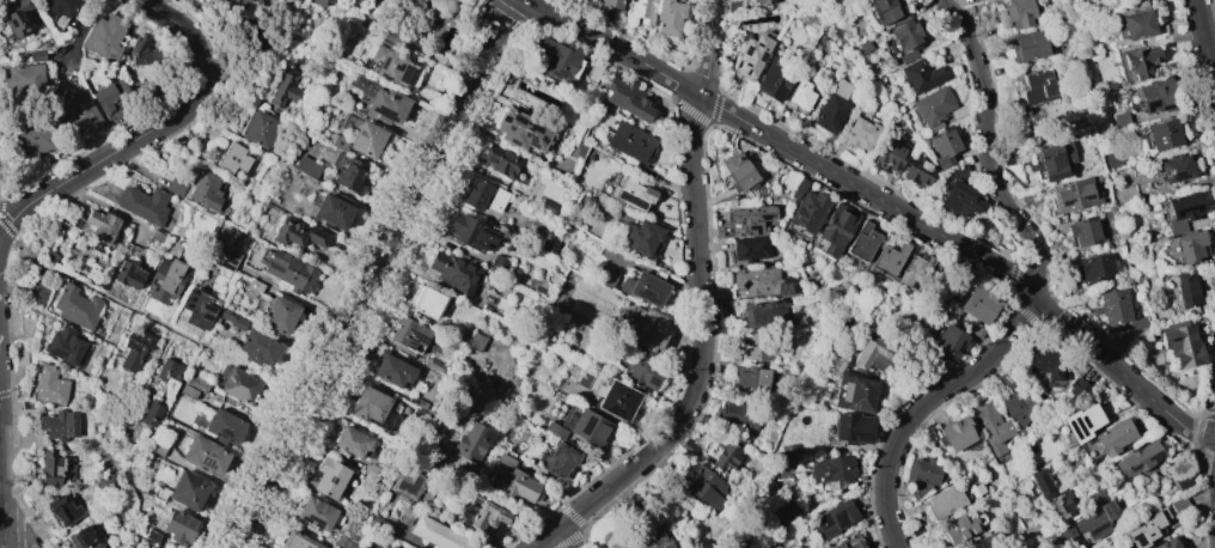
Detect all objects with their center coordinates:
building: (295, 0)
building: (329, 0)
building: (389, 0)
building: (984, 0)
building: (317, 1)
building: (761, 2)
building: (611, 4)
building: (227, 5)
building: (59, 6)
building: (440, 8)
building: (642, 11)
building: (887, 11)
building: (1019, 13)
building: (668, 16)
building: (18, 17)
building: (1137, 24)
road: (85, 31)
building: (104, 36)
building: (903, 36)
road: (1186, 36)
road: (1203, 42)
building: (1028, 45)
building: (865, 47)
rooftop solar panel: (758, 48)
road: (1187, 48)
rooftop solar panel: (745, 51)
building: (144, 53)
building: (35, 55)
building: (751, 56)
building: (908, 56)
rooftop solar panel: (762, 57)
building: (554, 59)
building: (1140, 61)
rooftop solar panel: (385, 63)
rooftop solar panel: (744, 63)
building: (391, 66)
rooftop solar panel: (399, 68)
building: (592, 72)
rooftop solar panel: (747, 73)
building: (920, 75)
rooftop solar panel: (408, 77)
building: (24, 78)
building: (775, 78)
building: (1038, 87)
road: (1214, 87)
building: (283, 89)
building: (1156, 96)
building: (799, 97)
building: (110, 98)
building: (628, 98)
building: (380, 99)
road: (188, 104)
rooftop solar panel: (1149, 104)
road: (1202, 105)
building: (832, 106)
rooftop solar panel: (1167, 106)
building: (933, 108)
road: (1189, 109)
building: (79, 110)
rooftop solar panel: (383, 112)
rooftop solar panel: (519, 118)
rooftop solar panel: (506, 120)
building: (1119, 120)
building: (258, 128)
rooftop solar panel: (512, 128)
rooftop solar panel: (535, 128)
building: (521, 130)
building: (861, 133)
building: (1162, 134)
building: (35, 139)
building: (360, 140)
rooftop solar panel: (542, 140)
rooftop solar panel: (531, 141)
building: (629, 141)
road: (1205, 142)
rooftop solar panel: (514, 144)
road: (782, 144)
building: (942, 147)
road: (985, 147)
building: (576, 150)
building: (889, 156)
building: (232, 158)
building: (500, 160)
building: (1055, 160)
building: (306, 166)
building: (1174, 168)
building: (738, 172)
building: (917, 172)
building: (349, 176)
rooftop solar panel: (1056, 178)
road: (1210, 179)
building: (800, 184)
building: (176, 185)
rooftop solar panel: (1068, 188)
building: (206, 190)
building: (630, 193)
building: (1074, 195)
building: (483, 196)
rooftop solar panel: (1088, 196)
building: (958, 199)
road: (32, 202)
rooftop solar panel: (629, 202)
rooftop solar panel: (1063, 203)
building: (144, 205)
road: (12, 207)
building: (332, 211)
building: (1182, 212)
building: (807, 213)
road: (54, 217)
building: (746, 221)
road: (4, 223)
building: (97, 226)
building: (469, 231)
building: (835, 231)
building: (1085, 231)
building: (298, 233)
building: (642, 237)
road: (19, 239)
building: (155, 239)
rooftop solar panel: (493, 242)
building: (862, 242)
building: (1189, 245)
rooftop solar panel: (480, 248)
building: (749, 249)
building: (53, 257)
rooftop solar panel: (232, 258)
building: (226, 260)
building: (887, 260)
rooftop solar panel: (231, 262)
building: (497, 263)
road: (38, 264)
building: (1093, 268)
rooftop solar panel: (225, 269)
building: (454, 270)
building: (291, 272)
building: (915, 272)
building: (127, 274)
road: (373, 274)
building: (165, 279)
building: (759, 282)
building: (254, 286)
building: (648, 287)
road: (19, 288)
building: (1187, 288)
rooftop solar panel: (784, 291)
building: (37, 294)
building: (425, 302)
building: (978, 304)
building: (77, 306)
building: (197, 309)
building: (1117, 309)
rooftop solar panel: (208, 310)
road: (702, 310)
building: (279, 315)
building: (763, 315)
rooftop solar panel: (207, 318)
building: (232, 318)
building: (28, 328)
building: (648, 329)
building: (408, 334)
rooftop solar panel: (419, 339)
building: (1142, 340)
building: (476, 341)
building: (951, 341)
rooftop solar panel: (411, 343)
building: (1180, 343)
building: (63, 345)
building: (756, 346)
building: (258, 347)
building: (134, 351)
building: (877, 355)
building: (20, 358)
road: (1209, 358)
building: (1044, 361)
building: (434, 365)
building: (392, 371)
building: (642, 371)
road: (1121, 371)
building: (169, 376)
building: (750, 380)
building: (1005, 380)
building: (196, 383)
building: (238, 384)
building: (50, 385)
building: (1076, 388)
road: (294, 390)
building: (188, 391)
building: (853, 392)
building: (616, 400)
building: (417, 403)
road: (923, 403)
building: (1020, 406)
building: (374, 408)
building: (151, 412)
building: (738, 415)
road: (1208, 415)
building: (1081, 421)
road: (1198, 424)
building: (59, 425)
rooftop solar panel: (588, 426)
building: (990, 426)
building: (222, 427)
building: (590, 427)
building: (554, 430)
building: (848, 430)
building: (955, 433)
rooftop solar panel: (225, 437)
rooftop solar panel: (861, 438)
building: (1106, 440)
building: (352, 442)
building: (472, 443)
building: (158, 446)
building: (790, 452)
building: (203, 455)
rooftop solar panel: (568, 455)
building: (726, 457)
rooftop solar panel: (1155, 457)
building: (1136, 458)
building: (560, 459)
rooftop solar panel: (552, 465)
building: (54, 469)
building: (831, 469)
rooftop solar panel: (1132, 469)
building: (374, 473)
rooftop solar panel: (557, 475)
building: (921, 475)
building: (329, 477)
rooftop solar panel: (331, 480)
building: (511, 480)
building: (1182, 481)
building: (106, 482)
building: (1042, 483)
building: (407, 486)
building: (702, 486)
building: (976, 489)
building: (183, 491)
building: (1095, 497)
building: (944, 501)
building: (1063, 504)
building: (1178, 505)
building: (54, 506)
building: (781, 512)
building: (484, 513)
building: (315, 514)
building: (404, 518)
building: (831, 519)
building: (1095, 520)
rooftop solar panel: (313, 522)
building: (376, 523)
rooftop solar panel: (841, 524)
building: (178, 525)
building: (959, 526)
building: (1144, 528)
building: (1067, 531)
building: (436, 534)
road: (566, 537)
building: (81, 538)
building: (651, 540)
building: (295, 541)
building: (984, 541)
building: (848, 542)
building: (1166, 543)
road: (4, 546)
building: (408, 547)
road: (897, 547)

